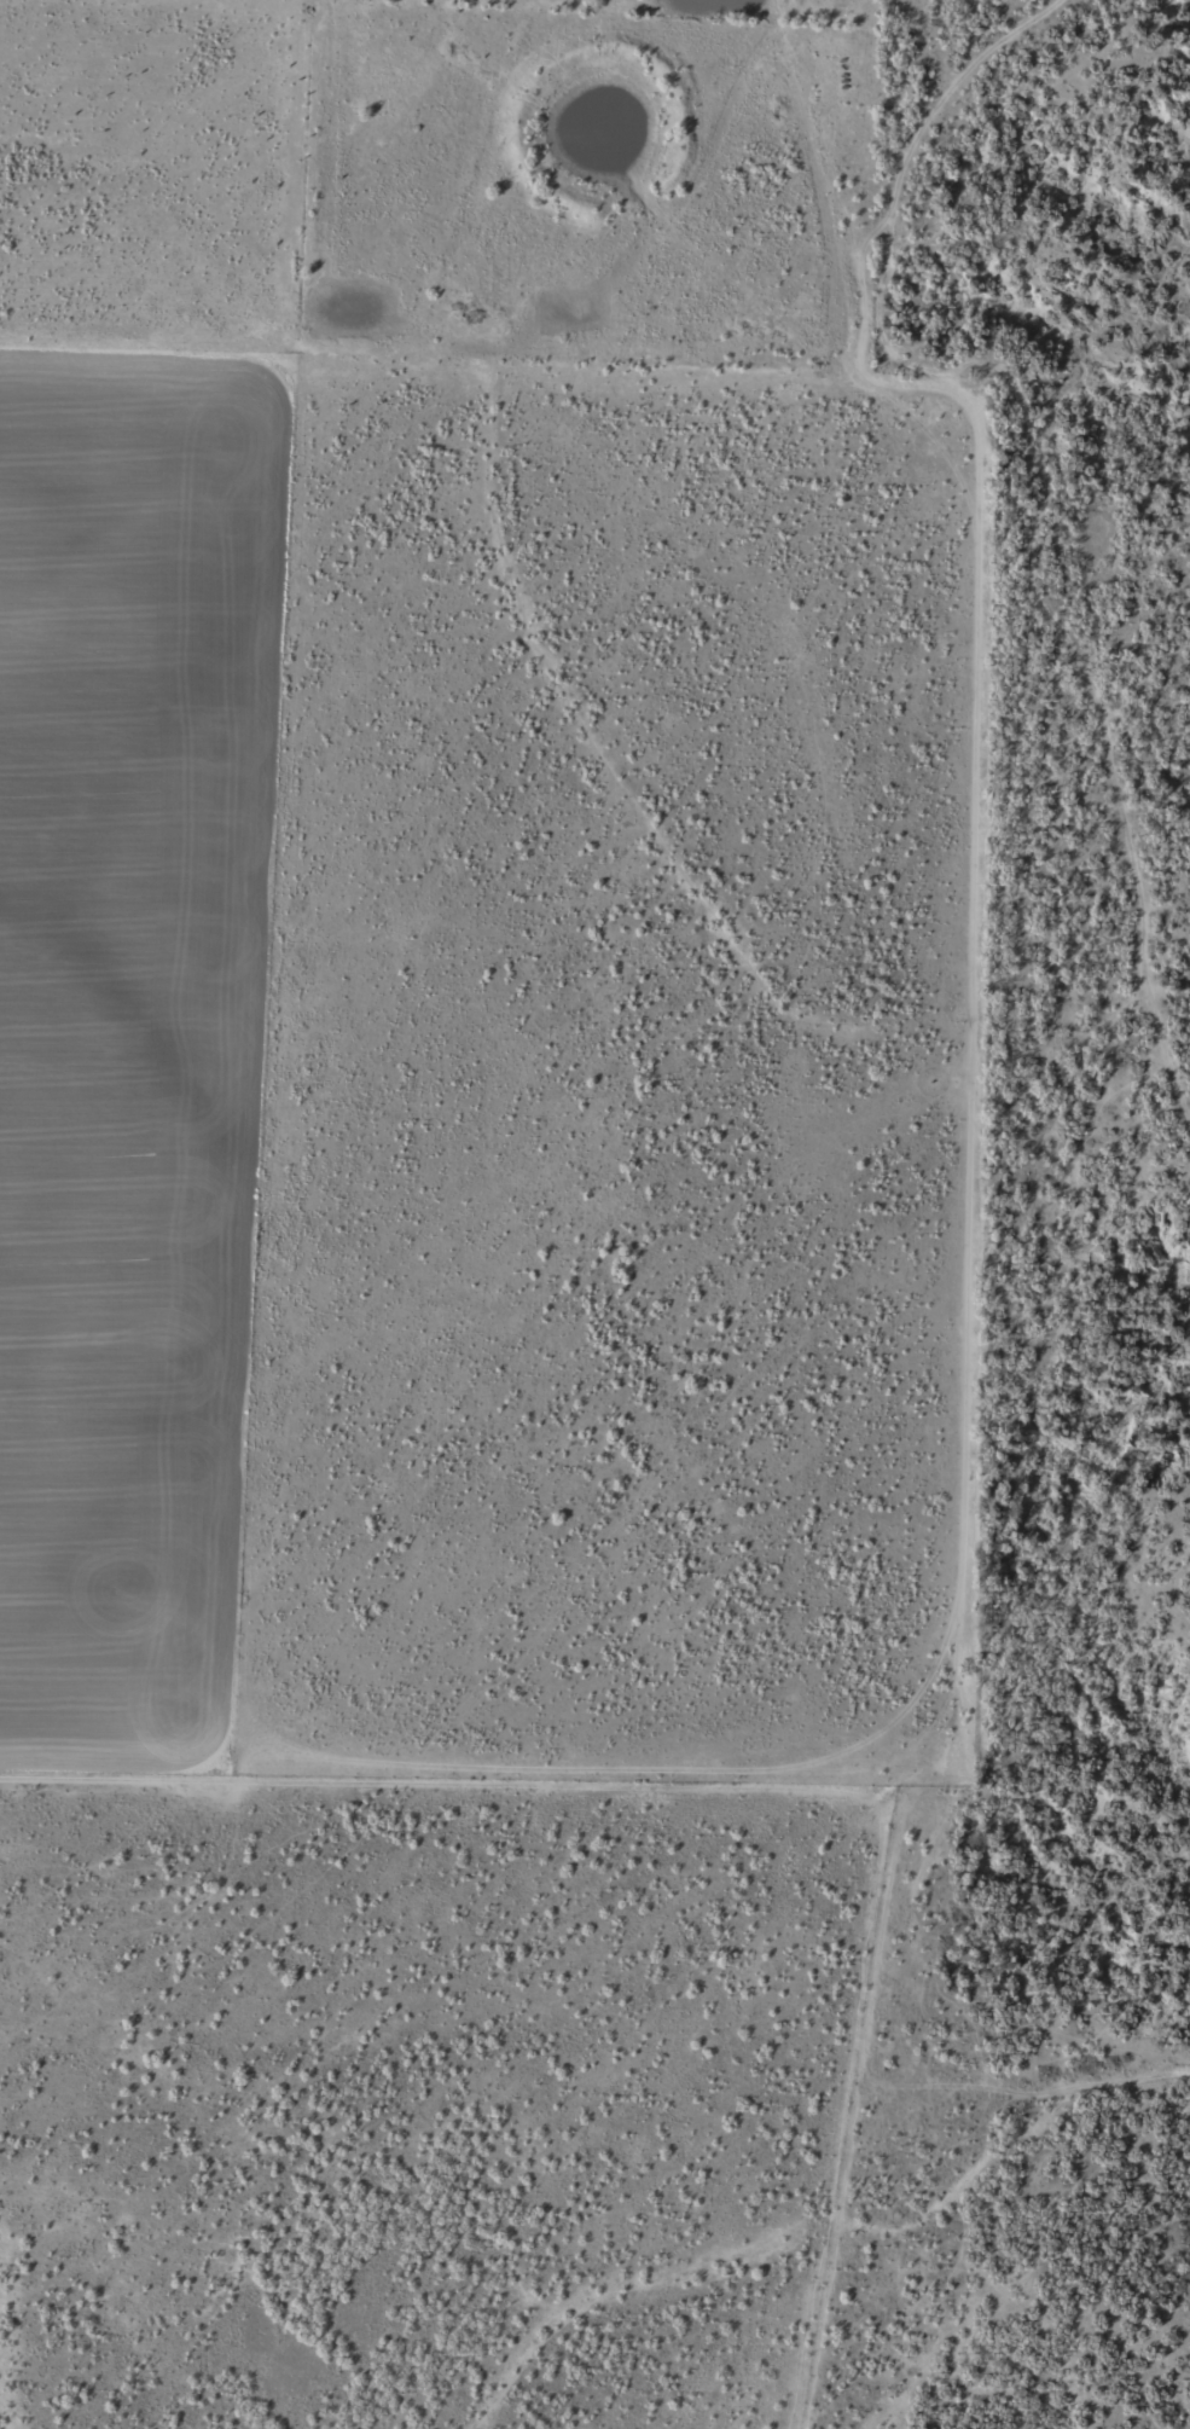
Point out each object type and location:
road: (689, 1790)

